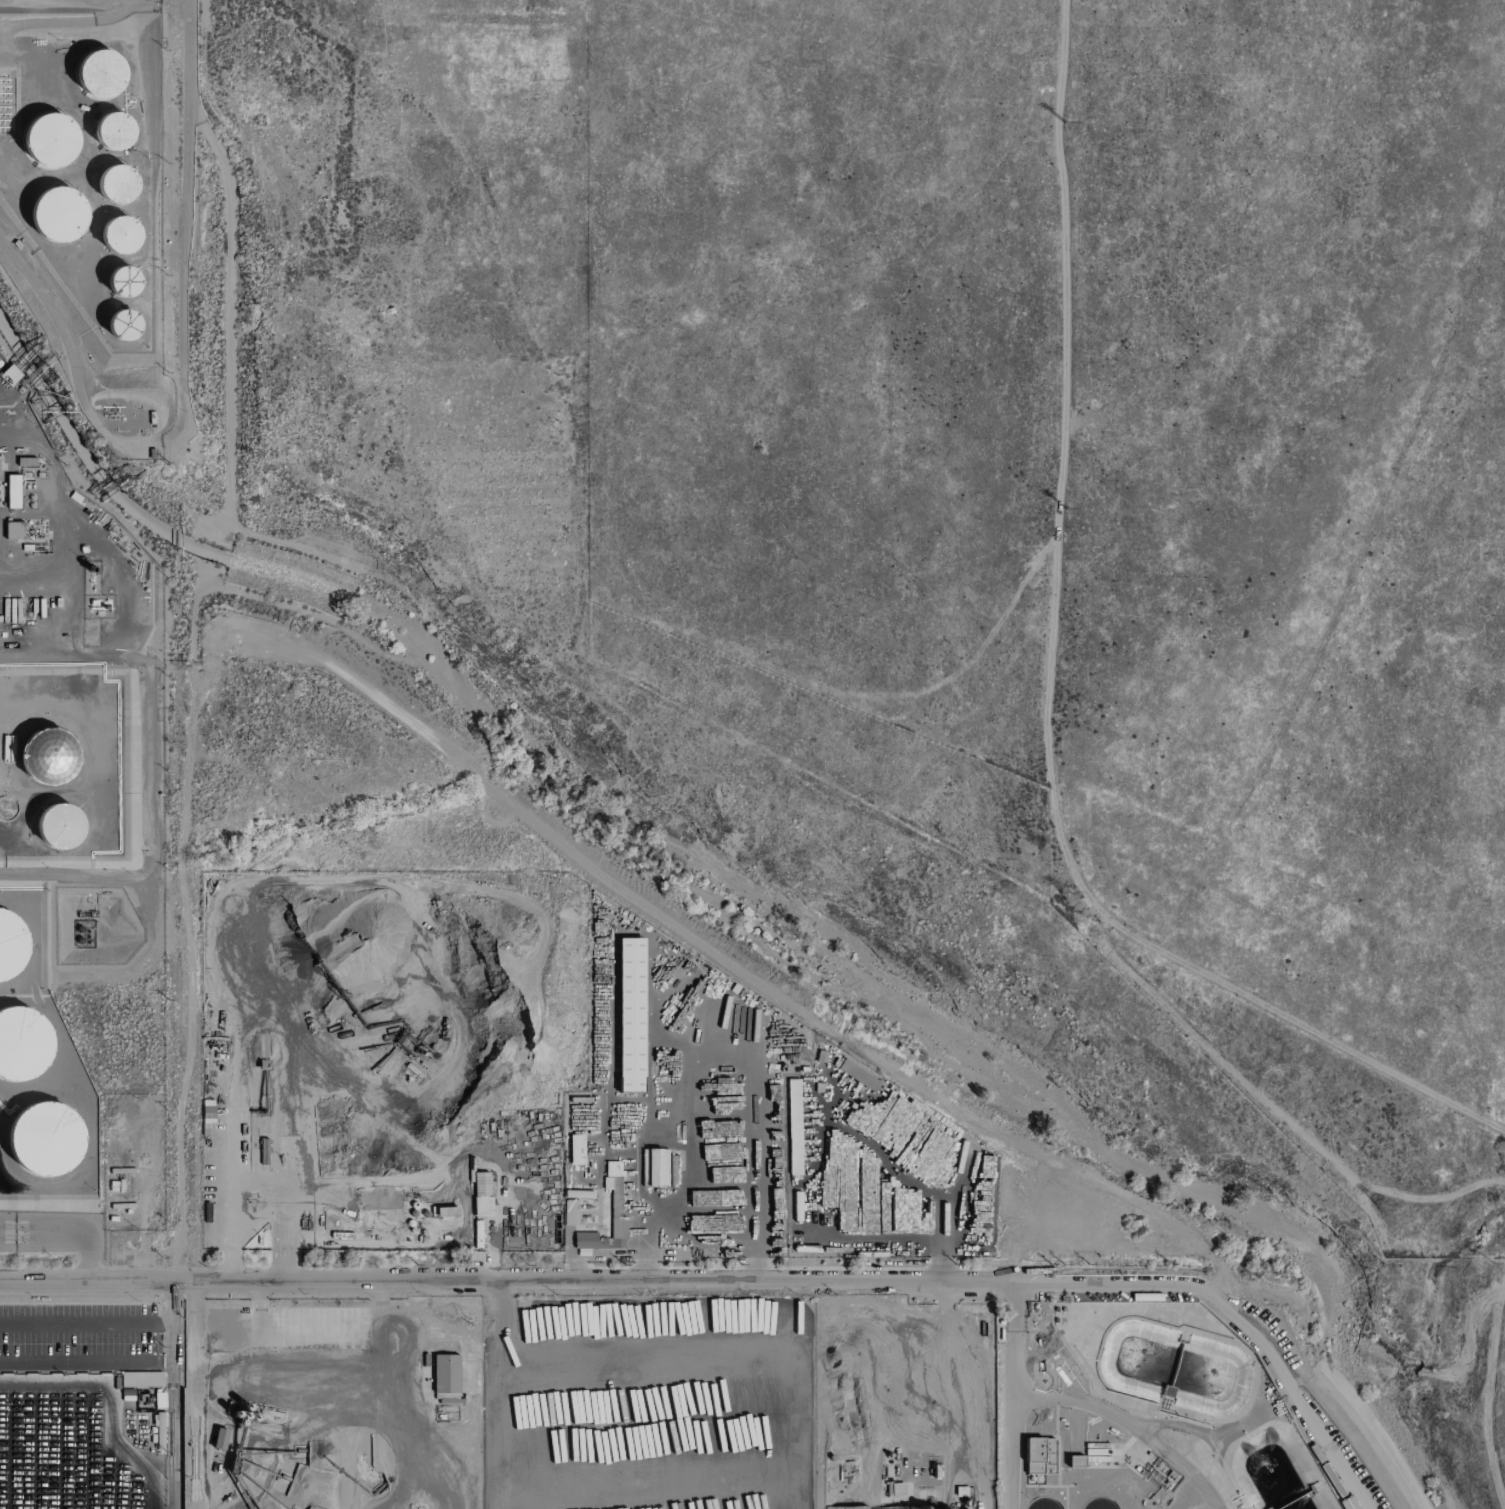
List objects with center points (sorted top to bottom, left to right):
building: (97, 73)
storage tank: (97, 73)
building: (112, 131)
storage tank: (112, 131)
building: (50, 142)
storage tank: (50, 142)
building: (115, 186)
storage tank: (115, 186)
building: (56, 216)
storage tank: (56, 216)
building: (119, 237)
storage tank: (119, 237)
building: (121, 282)
storage tank: (121, 282)
building: (122, 327)
storage tank: (122, 327)
building: (12, 492)
building: (14, 530)
building: (50, 755)
storage tank: (50, 755)
building: (61, 825)
storage tank: (61, 825)
building: (12, 947)
storage tank: (12, 947)
building: (630, 1015)
building: (22, 1050)
storage tank: (22, 1050)
building: (207, 1113)
building: (49, 1136)
storage tank: (49, 1136)
building: (576, 1150)
road: (255, 1180)
building: (481, 1194)
building: (615, 1203)
building: (573, 1205)
building: (444, 1212)
building: (920, 1216)
road: (493, 1229)
road: (63, 1233)
road: (703, 1251)
road: (600, 1258)
road: (505, 1283)
road: (1232, 1318)
road: (107, 1324)
road: (1011, 1340)
road: (104, 1365)
building: (445, 1374)
building: (141, 1380)
wastewater plant: (1142, 1412)
road: (1127, 1425)
road: (1185, 1428)
building: (219, 1439)
road: (1010, 1452)
building: (1040, 1456)
building: (1076, 1462)
building: (894, 1489)
road: (1181, 1493)

